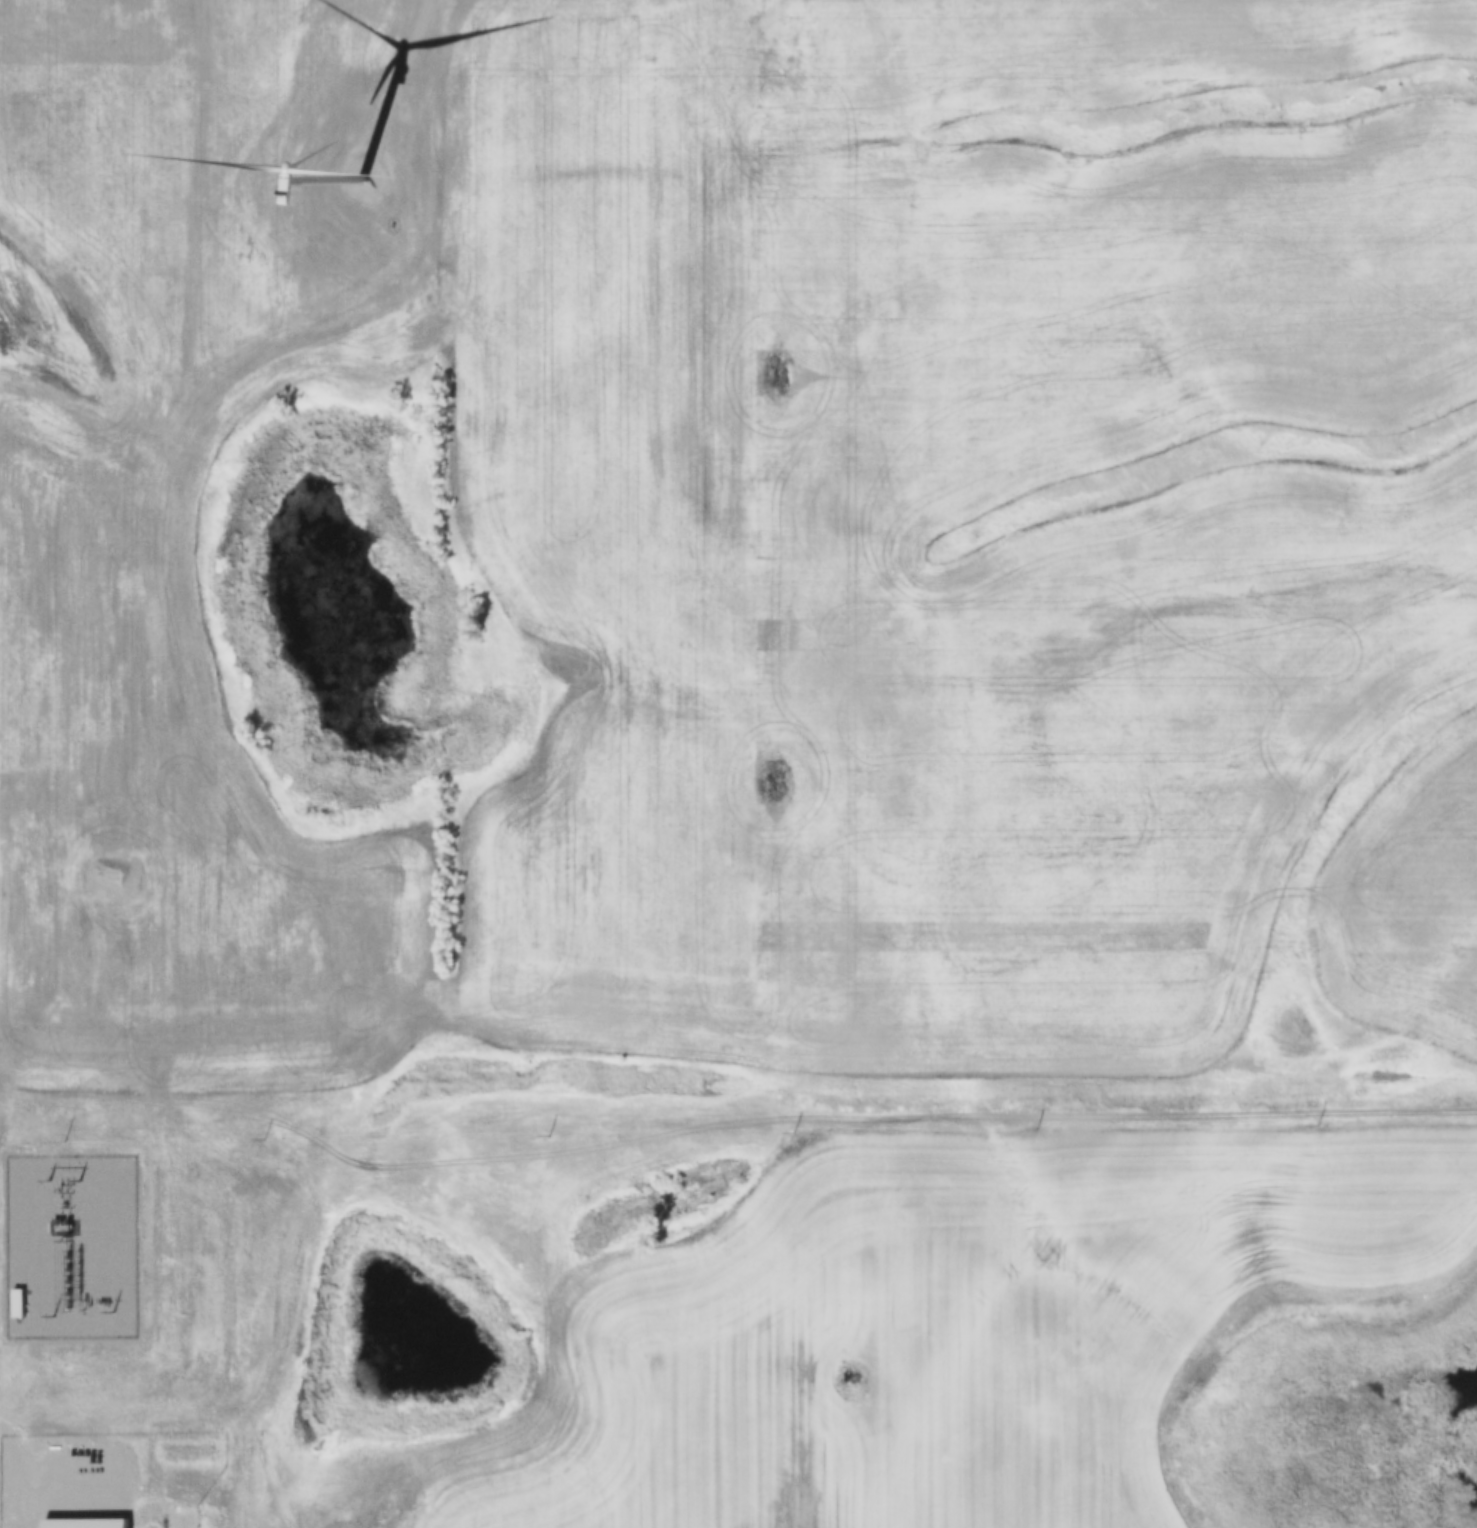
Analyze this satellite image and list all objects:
wind turbine: (330, 198)
road: (178, 1023)
power substation: (65, 1249)
building: (83, 1523)

